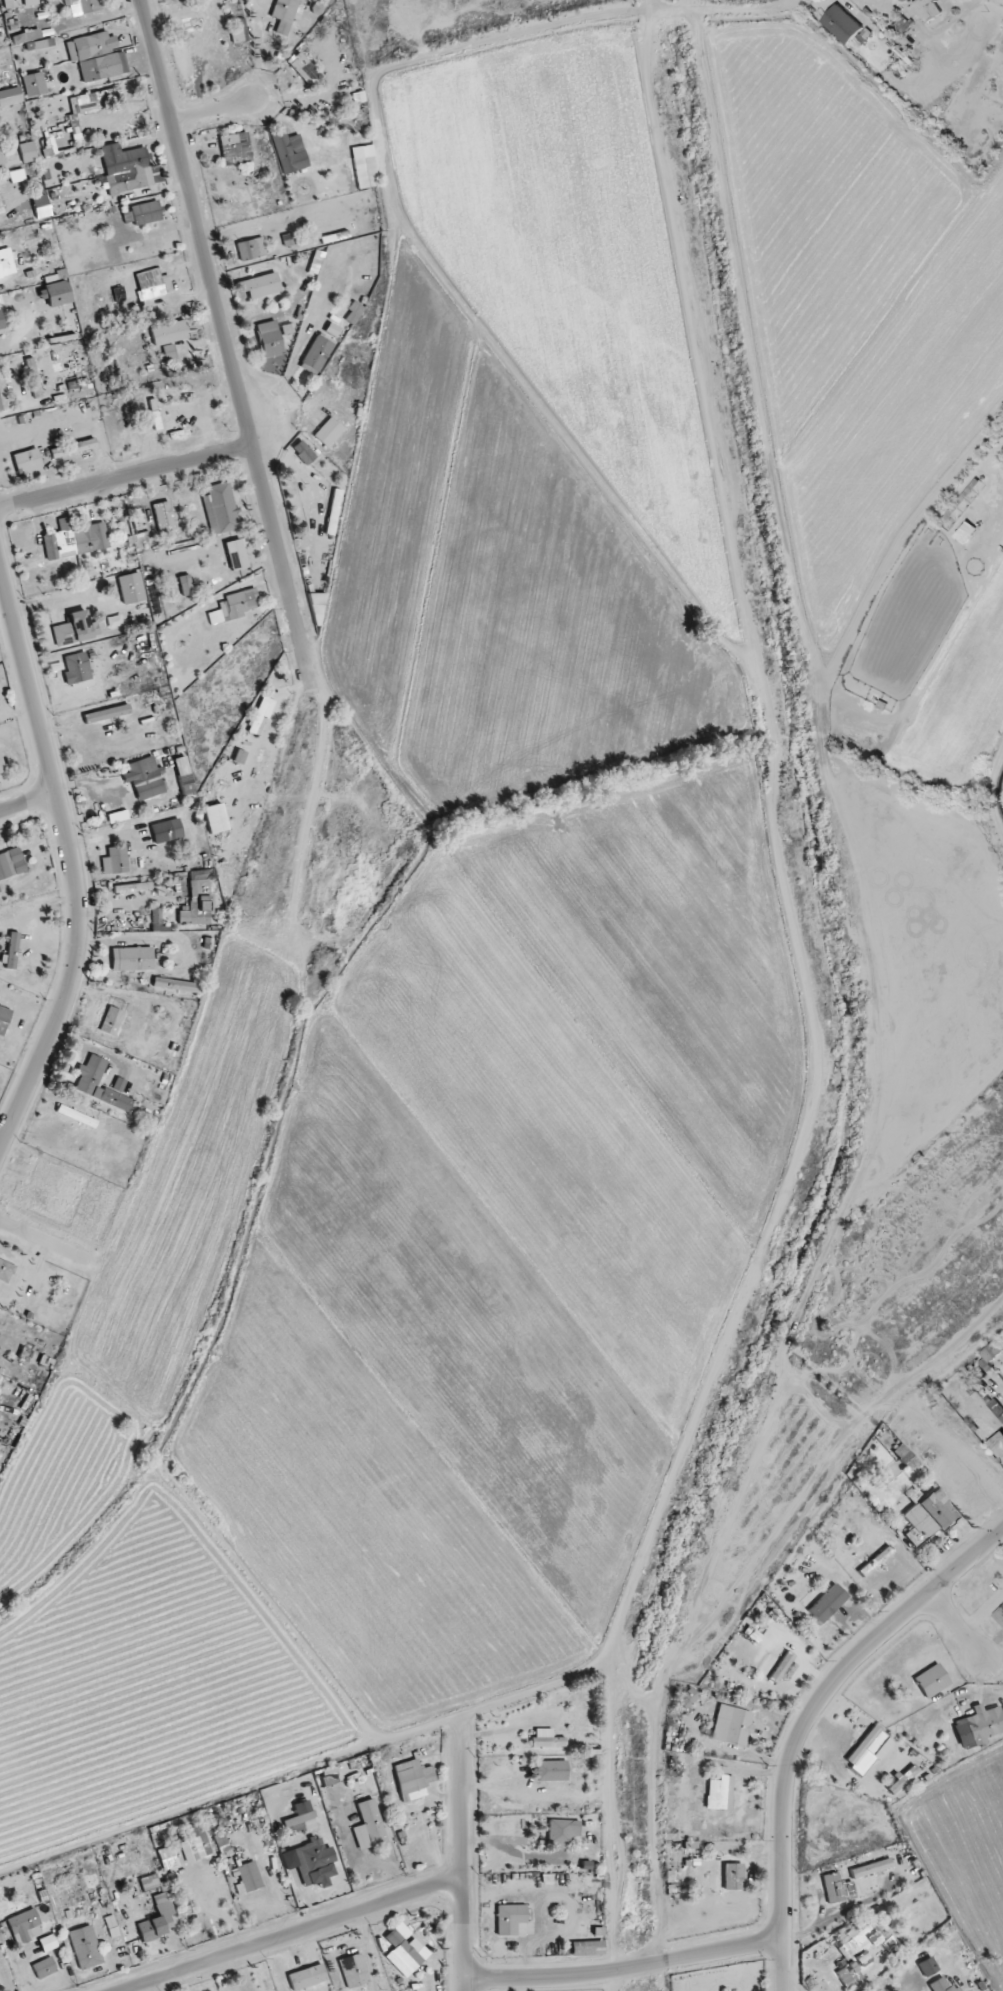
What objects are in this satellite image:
building: (906, 0)
building: (18, 3)
building: (83, 6)
building: (187, 9)
building: (285, 9)
road: (730, 10)
building: (925, 10)
building: (842, 24)
building: (237, 30)
building: (97, 56)
building: (304, 68)
building: (34, 84)
building: (96, 99)
road: (214, 109)
building: (46, 147)
building: (234, 148)
building: (28, 152)
building: (287, 153)
building: (1, 156)
building: (364, 166)
building: (128, 171)
building: (17, 175)
building: (41, 206)
building: (0, 212)
building: (143, 213)
building: (288, 240)
building: (251, 249)
building: (2, 263)
building: (150, 284)
building: (260, 285)
building: (353, 313)
road: (220, 319)
building: (1, 322)
building: (169, 333)
building: (270, 339)
building: (316, 353)
building: (33, 378)
building: (67, 415)
building: (327, 430)
building: (73, 448)
building: (304, 452)
building: (27, 461)
road: (126, 477)
building: (220, 509)
building: (333, 512)
building: (75, 539)
building: (241, 552)
building: (238, 604)
building: (316, 608)
building: (76, 632)
building: (76, 668)
building: (261, 716)
building: (2, 764)
building: (144, 778)
building: (186, 784)
road: (28, 802)
building: (163, 832)
building: (115, 860)
building: (11, 863)
road: (72, 863)
building: (198, 904)
building: (12, 951)
building: (132, 960)
building: (177, 985)
building: (112, 1021)
building: (3, 1022)
building: (89, 1081)
road: (45, 1238)
building: (991, 1351)
building: (1002, 1417)
building: (998, 1444)
building: (926, 1515)
building: (875, 1561)
building: (827, 1603)
building: (999, 1615)
road: (963, 1630)
building: (781, 1667)
building: (932, 1680)
building: (688, 1698)
road: (806, 1719)
building: (732, 1725)
building: (979, 1726)
building: (546, 1739)
building: (867, 1749)
building: (551, 1770)
building: (412, 1779)
building: (901, 1780)
road: (522, 1785)
road: (470, 1786)
building: (720, 1793)
building: (369, 1826)
building: (255, 1827)
building: (562, 1831)
road: (471, 1841)
building: (222, 1842)
building: (186, 1850)
road: (363, 1858)
road: (520, 1859)
road: (462, 1860)
road: (299, 1866)
building: (129, 1868)
building: (870, 1868)
building: (248, 1872)
building: (733, 1876)
building: (149, 1882)
road: (402, 1887)
building: (837, 1888)
road: (400, 1907)
road: (316, 1916)
building: (159, 1919)
building: (512, 1920)
building: (25, 1926)
road: (294, 1935)
road: (417, 1940)
building: (48, 1943)
building: (85, 1947)
building: (587, 1948)
building: (403, 1953)
building: (856, 1954)
road: (454, 1956)
building: (927, 1966)
building: (45, 1968)
road: (625, 1969)
building: (354, 1971)
building: (307, 1978)
building: (941, 1985)

